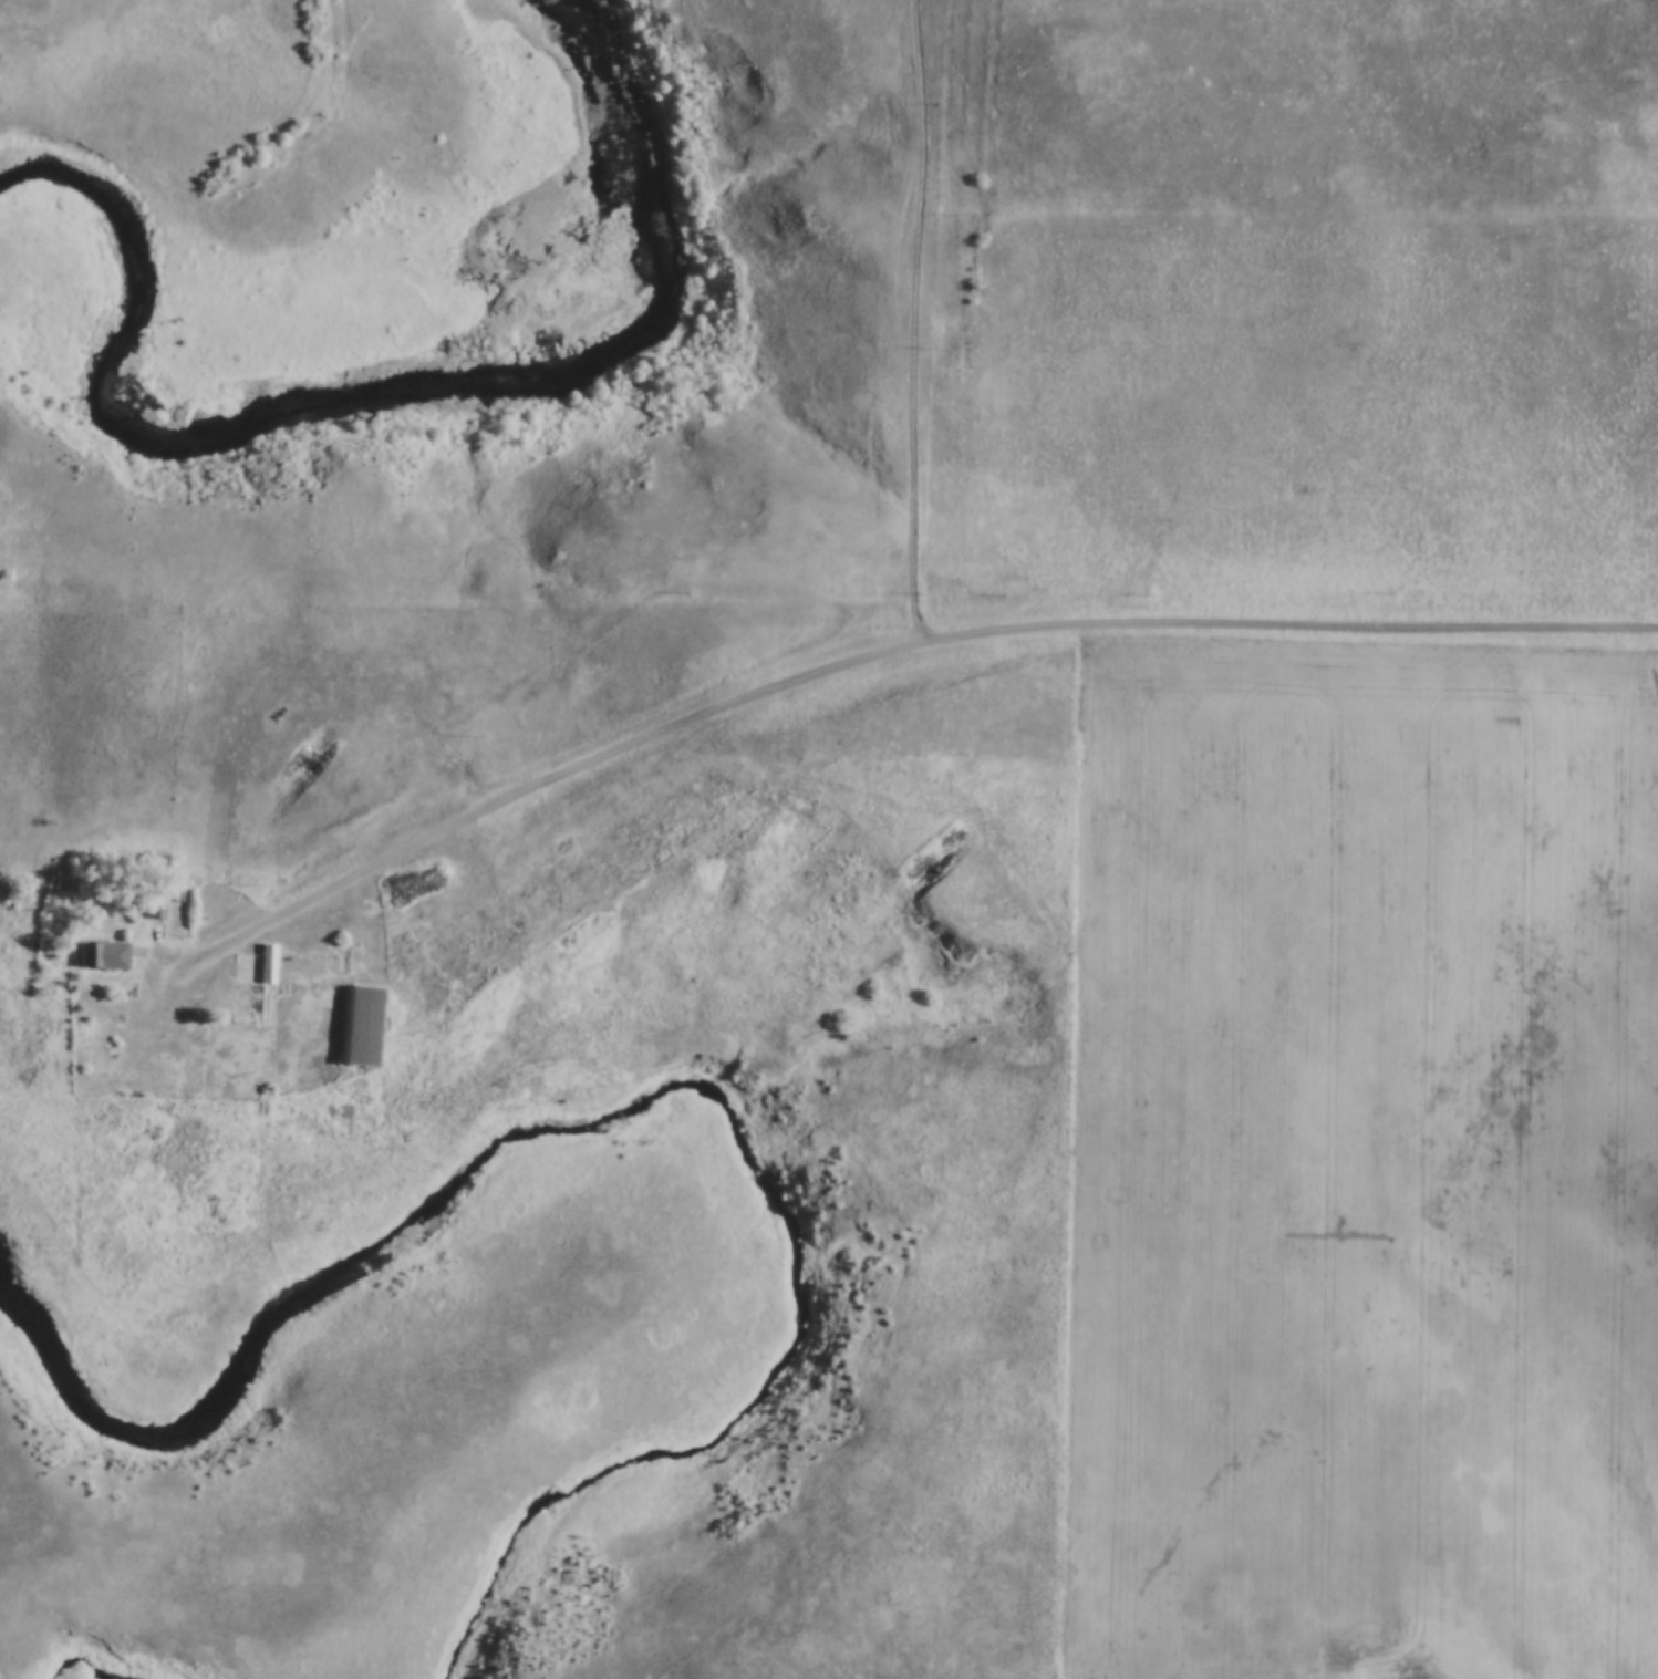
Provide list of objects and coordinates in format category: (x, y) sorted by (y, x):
park: (463, 299)
road: (913, 320)
road: (868, 653)
building: (157, 909)
building: (182, 910)
building: (104, 952)
building: (255, 985)
building: (364, 1024)

